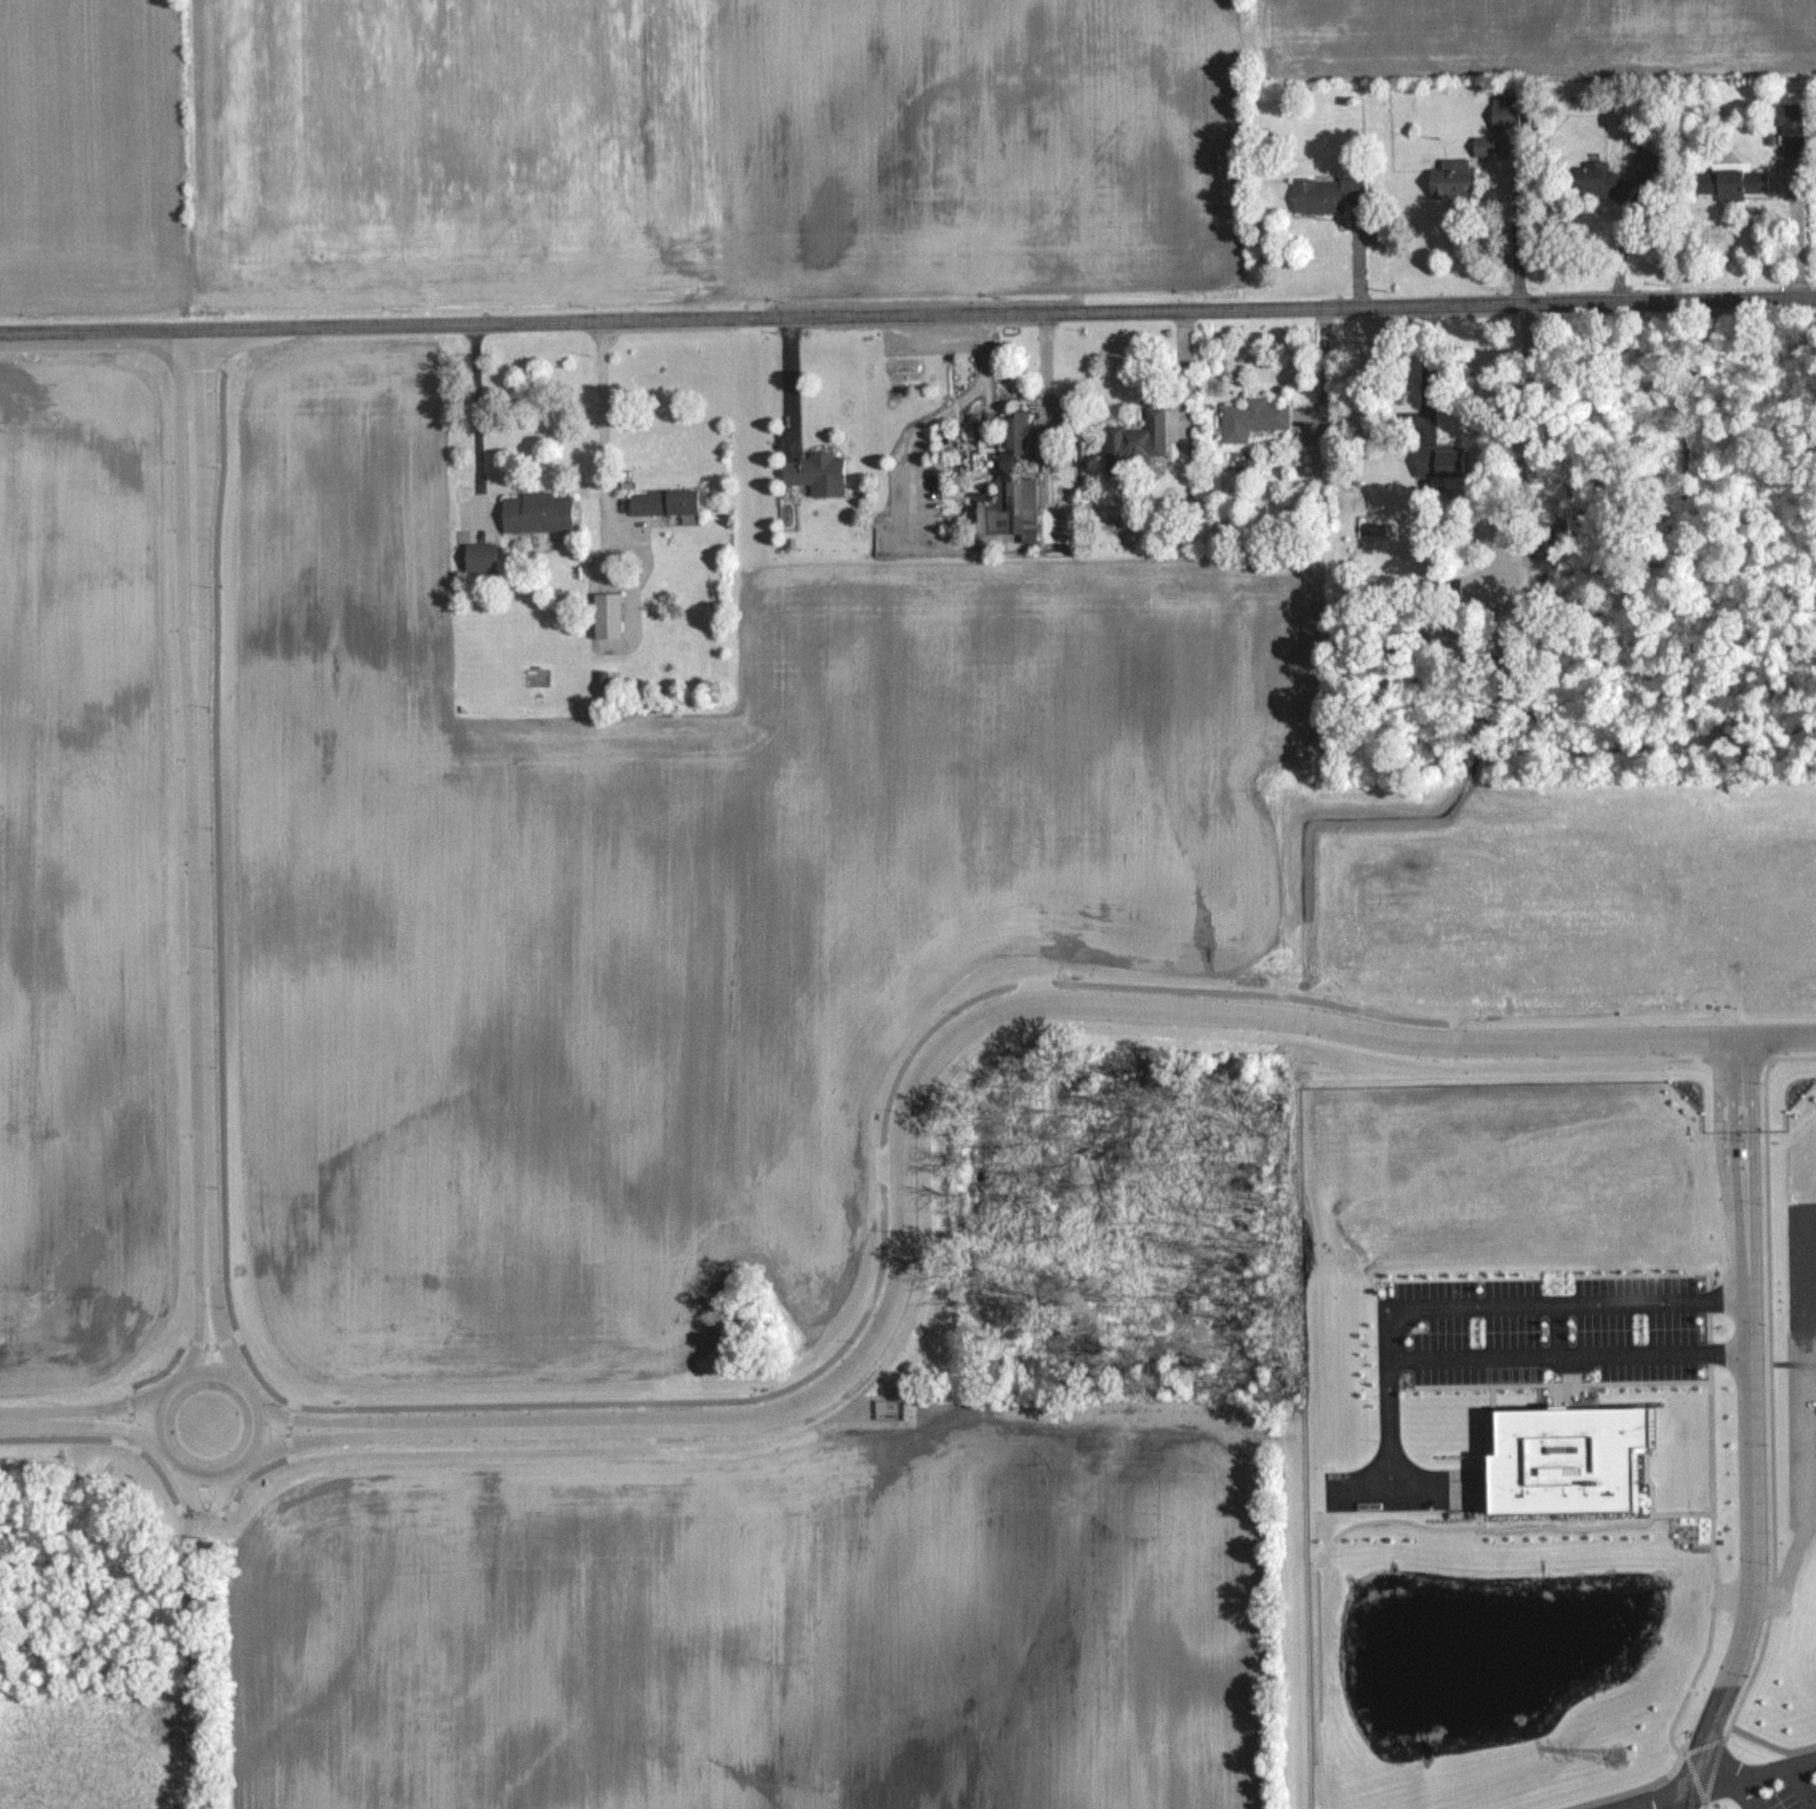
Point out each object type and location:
building: (1502, 112)
building: (1788, 126)
building: (1481, 146)
building: (1453, 179)
building: (1601, 181)
building: (1731, 183)
building: (1324, 194)
road: (1798, 232)
road: (1621, 233)
road: (1514, 235)
road: (907, 313)
road: (1430, 366)
road: (1324, 370)
road: (1185, 373)
road: (788, 382)
road: (936, 415)
building: (1250, 418)
road: (491, 420)
road: (616, 425)
building: (1018, 431)
building: (1136, 437)
building: (1437, 461)
building: (815, 473)
building: (666, 499)
building: (538, 508)
building: (1007, 508)
building: (480, 557)
building: (605, 613)
road: (197, 847)
road: (925, 1074)
road: (1480, 1306)
road: (1556, 1334)
road: (1566, 1361)
road: (1750, 1377)
road: (252, 1389)
road: (72, 1425)
building: (1580, 1453)
road: (199, 1645)
power tower: (1621, 1752)
road: (1753, 1770)
parking lot: (1767, 1780)
road: (1805, 1781)
road: (1690, 1787)
road: (1743, 1793)
road: (1692, 1798)
parking lot: (1617, 1808)

